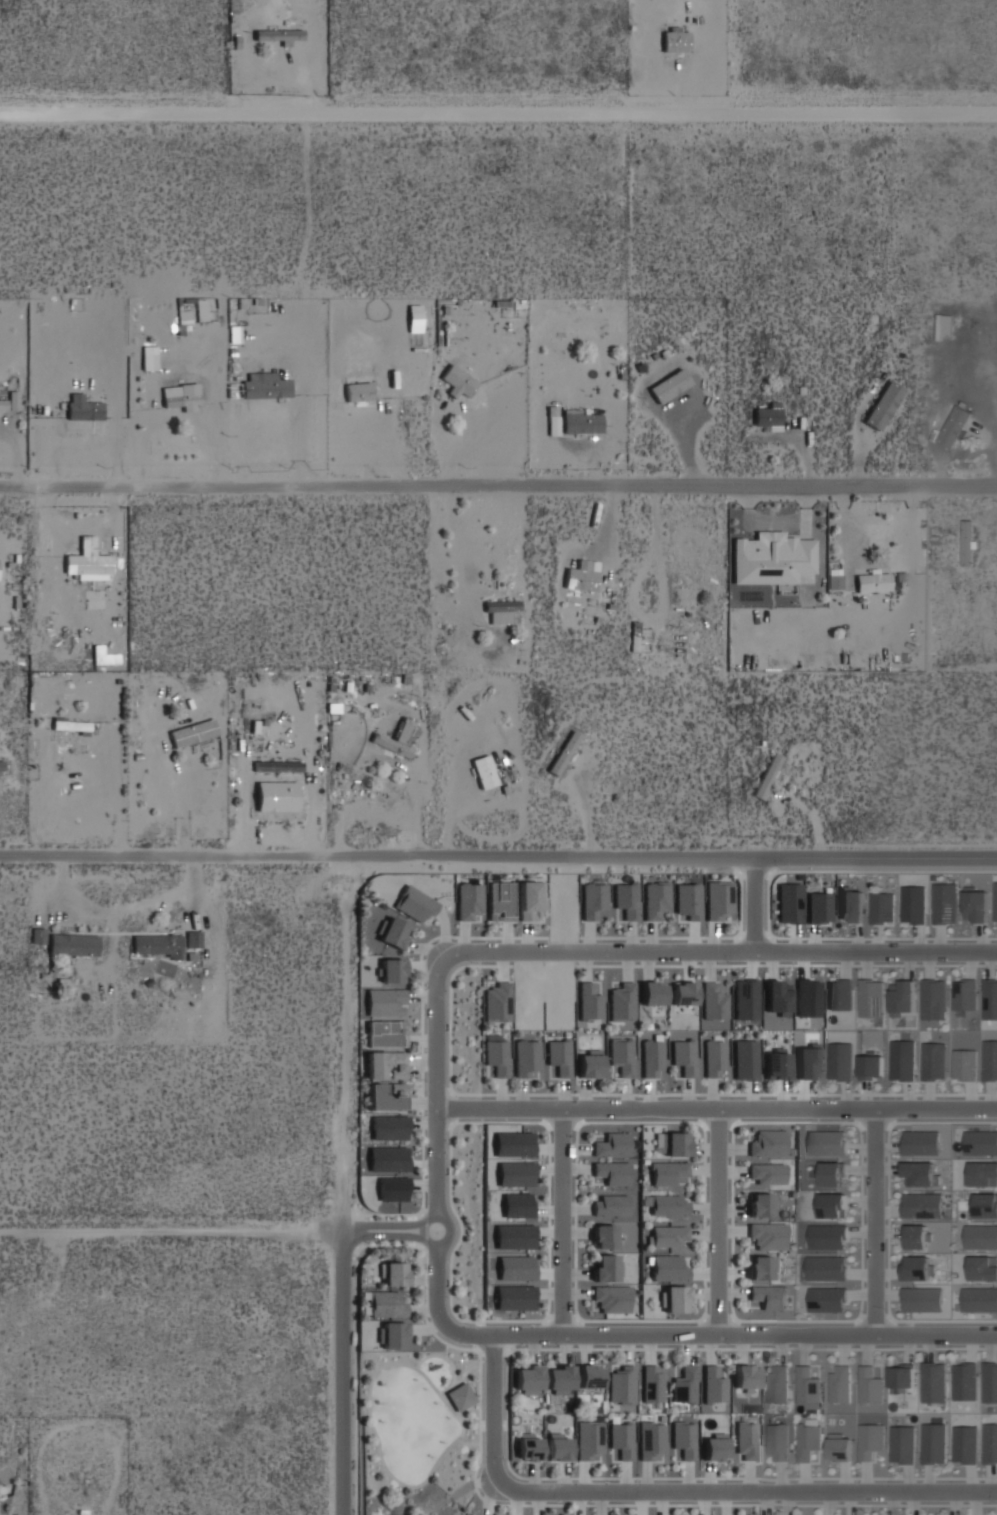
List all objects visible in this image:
building: (277, 33)
building: (675, 40)
road: (498, 116)
building: (148, 360)
building: (457, 380)
building: (669, 385)
building: (265, 387)
building: (358, 391)
building: (183, 396)
building: (10, 400)
building: (882, 404)
building: (82, 407)
building: (767, 414)
building: (581, 421)
building: (954, 425)
road: (498, 487)
building: (967, 541)
building: (772, 558)
building: (87, 565)
building: (580, 577)
building: (872, 581)
building: (834, 582)
building: (500, 609)
building: (634, 634)
building: (70, 724)
building: (192, 731)
building: (396, 738)
building: (564, 752)
building: (277, 765)
building: (2, 766)
building: (484, 770)
building: (766, 775)
road: (276, 790)
road: (182, 814)
road: (498, 863)
road: (883, 869)
building: (531, 899)
building: (593, 899)
building: (626, 899)
building: (655, 899)
building: (469, 900)
building: (719, 900)
building: (501, 901)
building: (688, 901)
building: (995, 901)
building: (790, 903)
building: (913, 903)
building: (943, 903)
building: (415, 904)
building: (851, 904)
building: (975, 906)
road: (756, 907)
building: (820, 907)
building: (882, 907)
building: (393, 931)
building: (37, 934)
building: (192, 938)
building: (72, 943)
building: (156, 944)
building: (391, 969)
building: (652, 992)
building: (683, 992)
building: (964, 994)
building: (840, 995)
building: (902, 997)
building: (778, 998)
building: (809, 998)
building: (870, 998)
building: (746, 999)
building: (933, 999)
building: (385, 1001)
building: (496, 1001)
building: (621, 1001)
building: (713, 1001)
building: (588, 1002)
building: (991, 1011)
building: (385, 1032)
building: (622, 1054)
building: (497, 1055)
building: (560, 1055)
building: (684, 1055)
building: (526, 1058)
building: (651, 1058)
building: (715, 1058)
building: (746, 1059)
building: (840, 1060)
building: (902, 1060)
building: (933, 1060)
building: (990, 1060)
building: (809, 1061)
building: (385, 1064)
building: (589, 1064)
building: (964, 1064)
building: (776, 1065)
building: (871, 1065)
building: (385, 1095)
road: (717, 1109)
building: (389, 1128)
building: (981, 1141)
building: (767, 1142)
building: (825, 1142)
building: (920, 1142)
building: (675, 1143)
building: (513, 1144)
building: (612, 1144)
building: (387, 1158)
building: (612, 1171)
building: (666, 1172)
building: (766, 1173)
building: (832, 1173)
building: (920, 1173)
building: (983, 1173)
building: (515, 1174)
building: (392, 1189)
road: (353, 1190)
building: (666, 1203)
building: (610, 1204)
building: (759, 1204)
building: (986, 1204)
building: (517, 1205)
building: (831, 1205)
building: (921, 1205)
road: (437, 1216)
road: (562, 1222)
road: (717, 1222)
road: (875, 1222)
road: (176, 1235)
road: (395, 1235)
building: (603, 1235)
building: (767, 1235)
building: (827, 1235)
building: (917, 1235)
building: (981, 1235)
building: (514, 1236)
building: (666, 1236)
building: (605, 1267)
building: (668, 1267)
building: (762, 1267)
building: (826, 1267)
building: (917, 1267)
building: (983, 1267)
building: (515, 1268)
building: (392, 1273)
building: (768, 1295)
building: (514, 1297)
building: (611, 1297)
building: (673, 1298)
building: (921, 1298)
building: (979, 1298)
building: (827, 1299)
building: (384, 1303)
building: (392, 1334)
road: (745, 1334)
road: (448, 1361)
road: (408, 1363)
road: (469, 1368)
road: (356, 1375)
building: (590, 1375)
building: (745, 1377)
building: (901, 1377)
building: (527, 1378)
building: (558, 1378)
building: (777, 1382)
building: (840, 1382)
building: (933, 1382)
building: (990, 1382)
building: (652, 1383)
building: (684, 1384)
building: (807, 1384)
building: (869, 1384)
building: (964, 1384)
building: (621, 1385)
building: (713, 1385)
building: (460, 1396)
park: (419, 1431)
building: (621, 1438)
building: (684, 1438)
building: (651, 1439)
building: (745, 1439)
building: (869, 1439)
building: (589, 1440)
building: (807, 1440)
road: (473, 1441)
building: (777, 1441)
building: (900, 1441)
building: (933, 1443)
building: (962, 1443)
building: (990, 1443)
building: (528, 1447)
building: (559, 1447)
building: (714, 1447)
building: (839, 1447)

